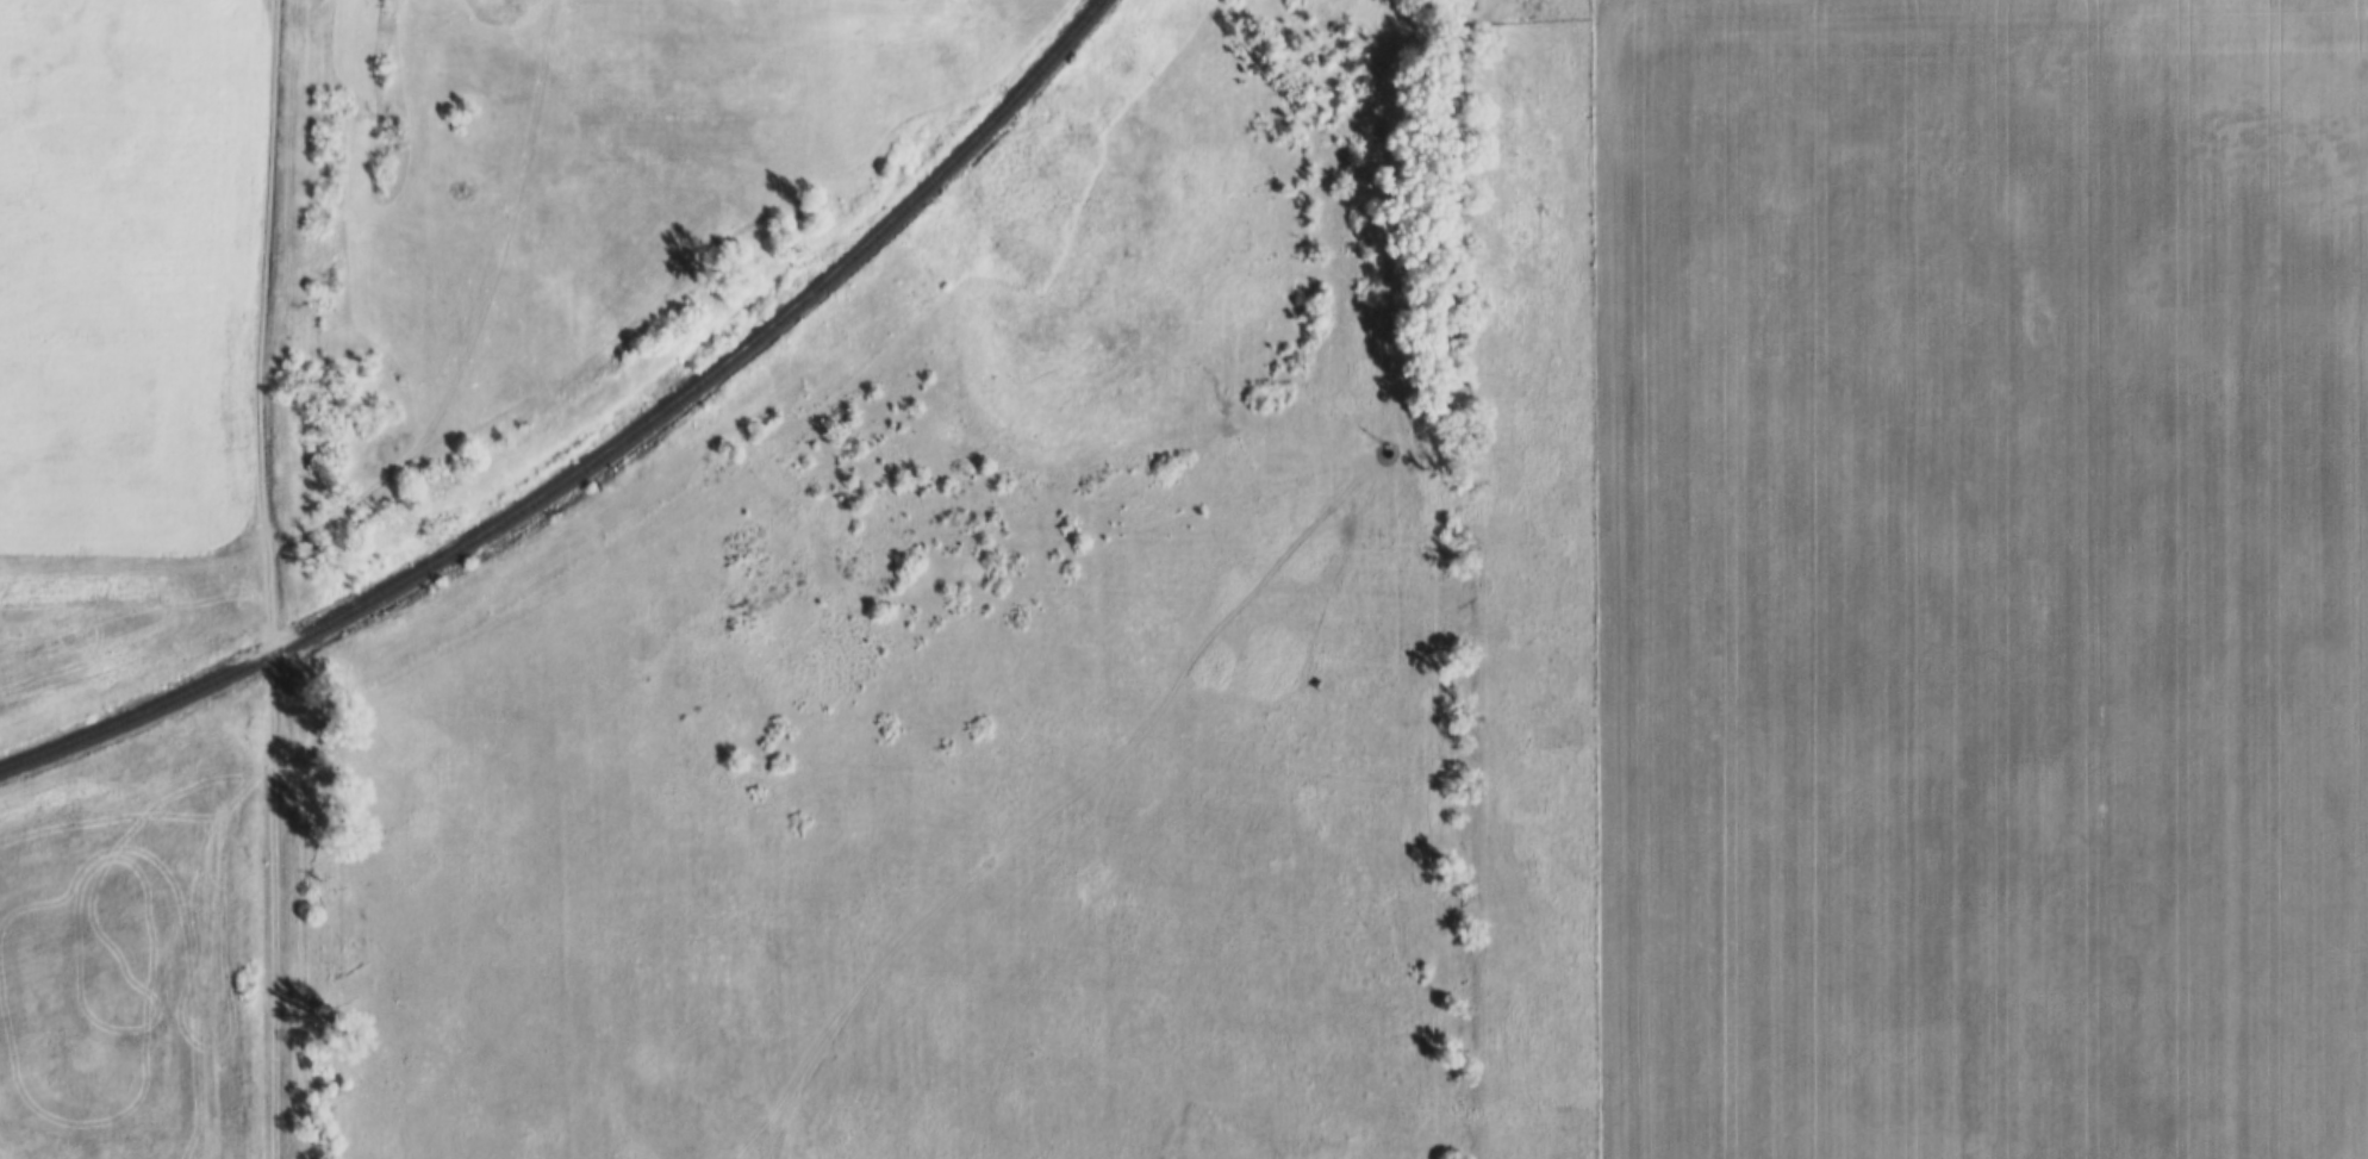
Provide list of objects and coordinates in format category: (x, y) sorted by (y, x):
railway: (600, 455)
road: (272, 578)

